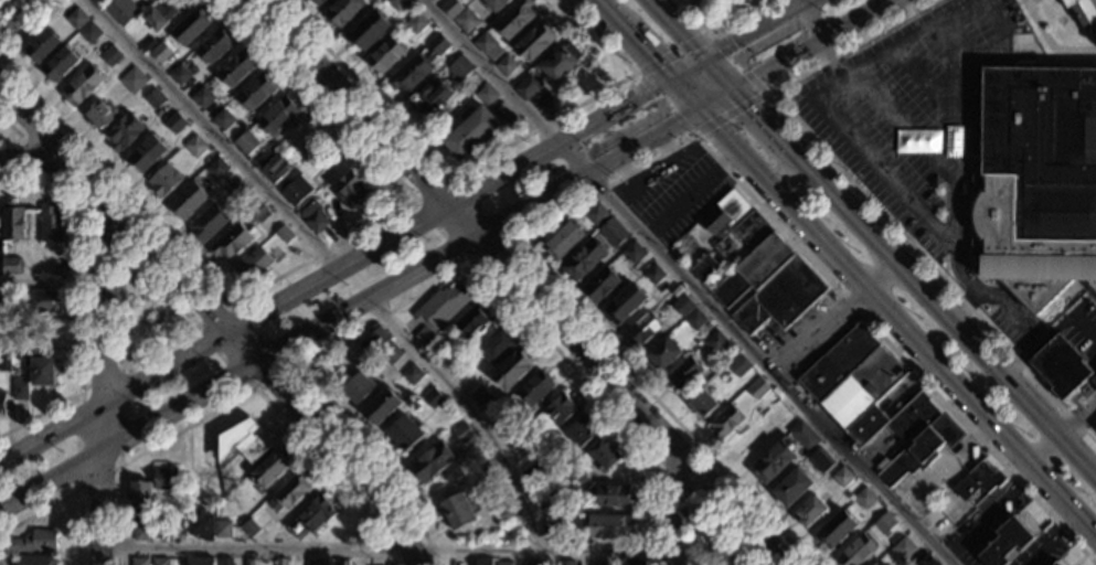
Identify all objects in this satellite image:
road: (1, 1)
building: (102, 1)
building: (317, 2)
building: (395, 3)
building: (494, 4)
building: (449, 8)
building: (123, 10)
building: (343, 11)
building: (1084, 12)
road: (17, 14)
road: (907, 14)
building: (158, 15)
building: (76, 19)
building: (514, 19)
road: (999, 20)
building: (465, 21)
building: (415, 22)
road: (810, 22)
building: (190, 26)
road: (716, 26)
road: (30, 29)
building: (370, 30)
building: (89, 33)
building: (535, 42)
building: (483, 43)
road: (1047, 43)
building: (147, 44)
building: (437, 44)
building: (42, 45)
traffic signals: (734, 45)
building: (214, 46)
building: (493, 52)
building: (160, 54)
building: (384, 55)
building: (110, 56)
traffic signals: (652, 56)
road: (830, 57)
road: (1066, 61)
building: (561, 62)
building: (60, 64)
building: (506, 65)
building: (459, 68)
building: (235, 70)
building: (409, 74)
building: (179, 75)
road: (923, 77)
building: (132, 81)
building: (82, 87)
building: (526, 87)
building: (254, 93)
building: (486, 94)
building: (202, 97)
building: (430, 97)
building: (155, 98)
traffic signals: (749, 109)
building: (102, 115)
building: (278, 116)
road: (831, 116)
building: (222, 119)
traffic signals: (672, 121)
building: (174, 122)
road: (904, 126)
parking lot: (923, 129)
building: (125, 131)
building: (470, 134)
road: (692, 135)
road: (20, 136)
road: (211, 136)
building: (245, 142)
building: (195, 147)
road: (664, 151)
building: (146, 153)
road: (30, 159)
road: (41, 159)
road: (954, 159)
building: (263, 160)
road: (477, 162)
building: (216, 169)
building: (275, 169)
road: (783, 171)
road: (651, 172)
building: (163, 181)
building: (1038, 181)
building: (292, 188)
building: (236, 189)
building: (351, 190)
road: (691, 192)
road: (866, 199)
road: (413, 200)
building: (187, 201)
building: (257, 210)
building: (724, 212)
building: (595, 214)
building: (313, 216)
building: (12, 222)
building: (52, 224)
road: (102, 224)
building: (208, 224)
road: (469, 226)
road: (407, 228)
building: (613, 232)
building: (284, 234)
road: (871, 236)
building: (562, 241)
building: (231, 243)
road: (439, 252)
building: (632, 253)
building: (583, 259)
building: (253, 265)
building: (11, 266)
road: (292, 267)
road: (847, 267)
building: (62, 270)
road: (147, 274)
building: (653, 274)
building: (759, 275)
road: (49, 281)
road: (437, 281)
road: (689, 282)
building: (599, 285)
road: (81, 295)
building: (42, 302)
building: (624, 303)
road: (1005, 303)
building: (682, 305)
building: (1, 308)
building: (438, 310)
road: (832, 316)
building: (694, 319)
building: (471, 320)
road: (217, 322)
building: (641, 329)
building: (374, 340)
building: (714, 341)
building: (496, 344)
building: (391, 353)
building: (663, 353)
building: (4, 359)
building: (737, 365)
road: (289, 366)
building: (1061, 366)
building: (511, 369)
building: (41, 372)
building: (412, 374)
building: (684, 374)
building: (1093, 382)
road: (98, 383)
building: (19, 387)
building: (358, 387)
building: (534, 388)
building: (757, 388)
road: (242, 393)
building: (479, 395)
building: (433, 398)
building: (875, 401)
building: (2, 403)
building: (702, 404)
building: (382, 406)
building: (560, 408)
road: (469, 412)
building: (498, 419)
road: (1075, 420)
building: (725, 422)
road: (1089, 423)
building: (1095, 429)
building: (579, 431)
building: (405, 433)
building: (462, 433)
building: (804, 435)
building: (242, 440)
building: (515, 443)
road: (1045, 449)
building: (604, 455)
building: (773, 460)
building: (819, 460)
building: (432, 462)
road: (118, 463)
building: (269, 469)
building: (530, 472)
building: (574, 477)
building: (842, 477)
building: (978, 479)
building: (166, 480)
road: (675, 486)
building: (791, 488)
road: (73, 491)
building: (289, 492)
building: (610, 495)
building: (140, 498)
building: (864, 498)
building: (552, 503)
building: (459, 510)
building: (810, 510)
road: (678, 511)
road: (730, 511)
road: (991, 511)
building: (506, 512)
building: (312, 516)
road: (702, 518)
building: (200, 523)
building: (885, 524)
building: (607, 526)
building: (222, 527)
building: (249, 527)
building: (159, 530)
building: (551, 530)
building: (837, 530)
building: (141, 531)
building: (33, 542)
park: (712, 542)
building: (1005, 542)
road: (389, 548)
building: (903, 548)
building: (858, 551)
road: (1039, 552)
building: (36, 559)
building: (199, 561)
building: (483, 561)
building: (926, 561)
building: (139, 562)
building: (160, 562)
building: (225, 562)
building: (248, 562)
building: (280, 562)
building: (565, 562)
building: (628, 562)
building: (317, 563)
building: (343, 563)
building: (504, 563)
building: (535, 563)
road: (695, 563)
building: (608, 564)
building: (875, 564)
building: (1055, 564)

